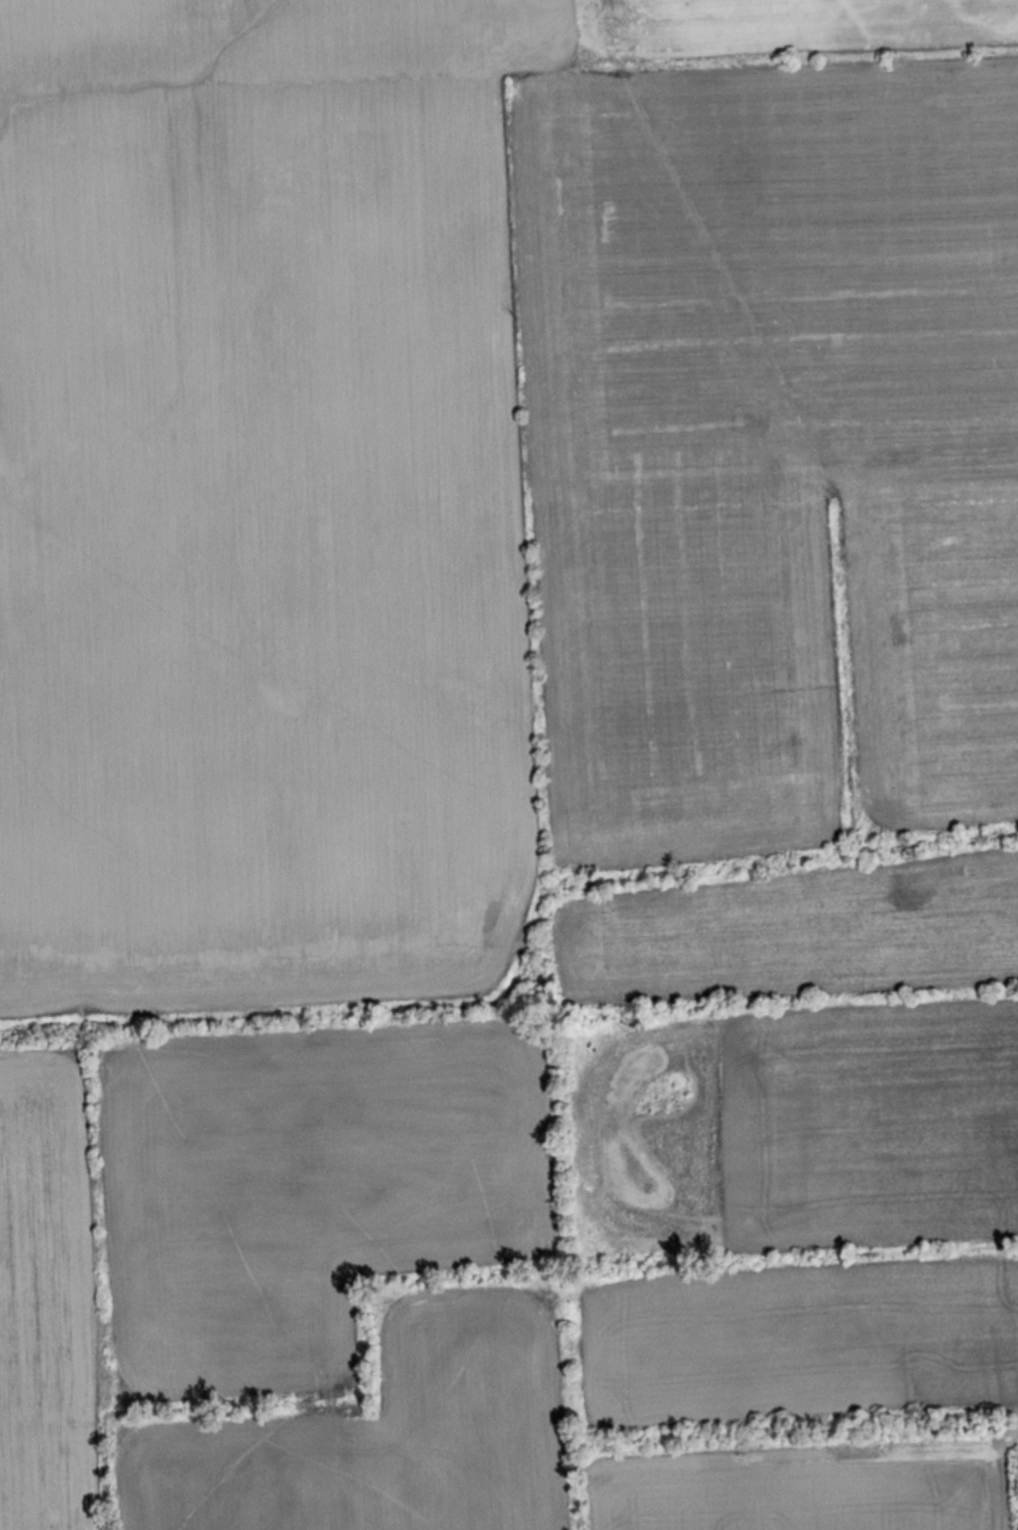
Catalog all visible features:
crop: (887, 317)
crop: (363, 496)

